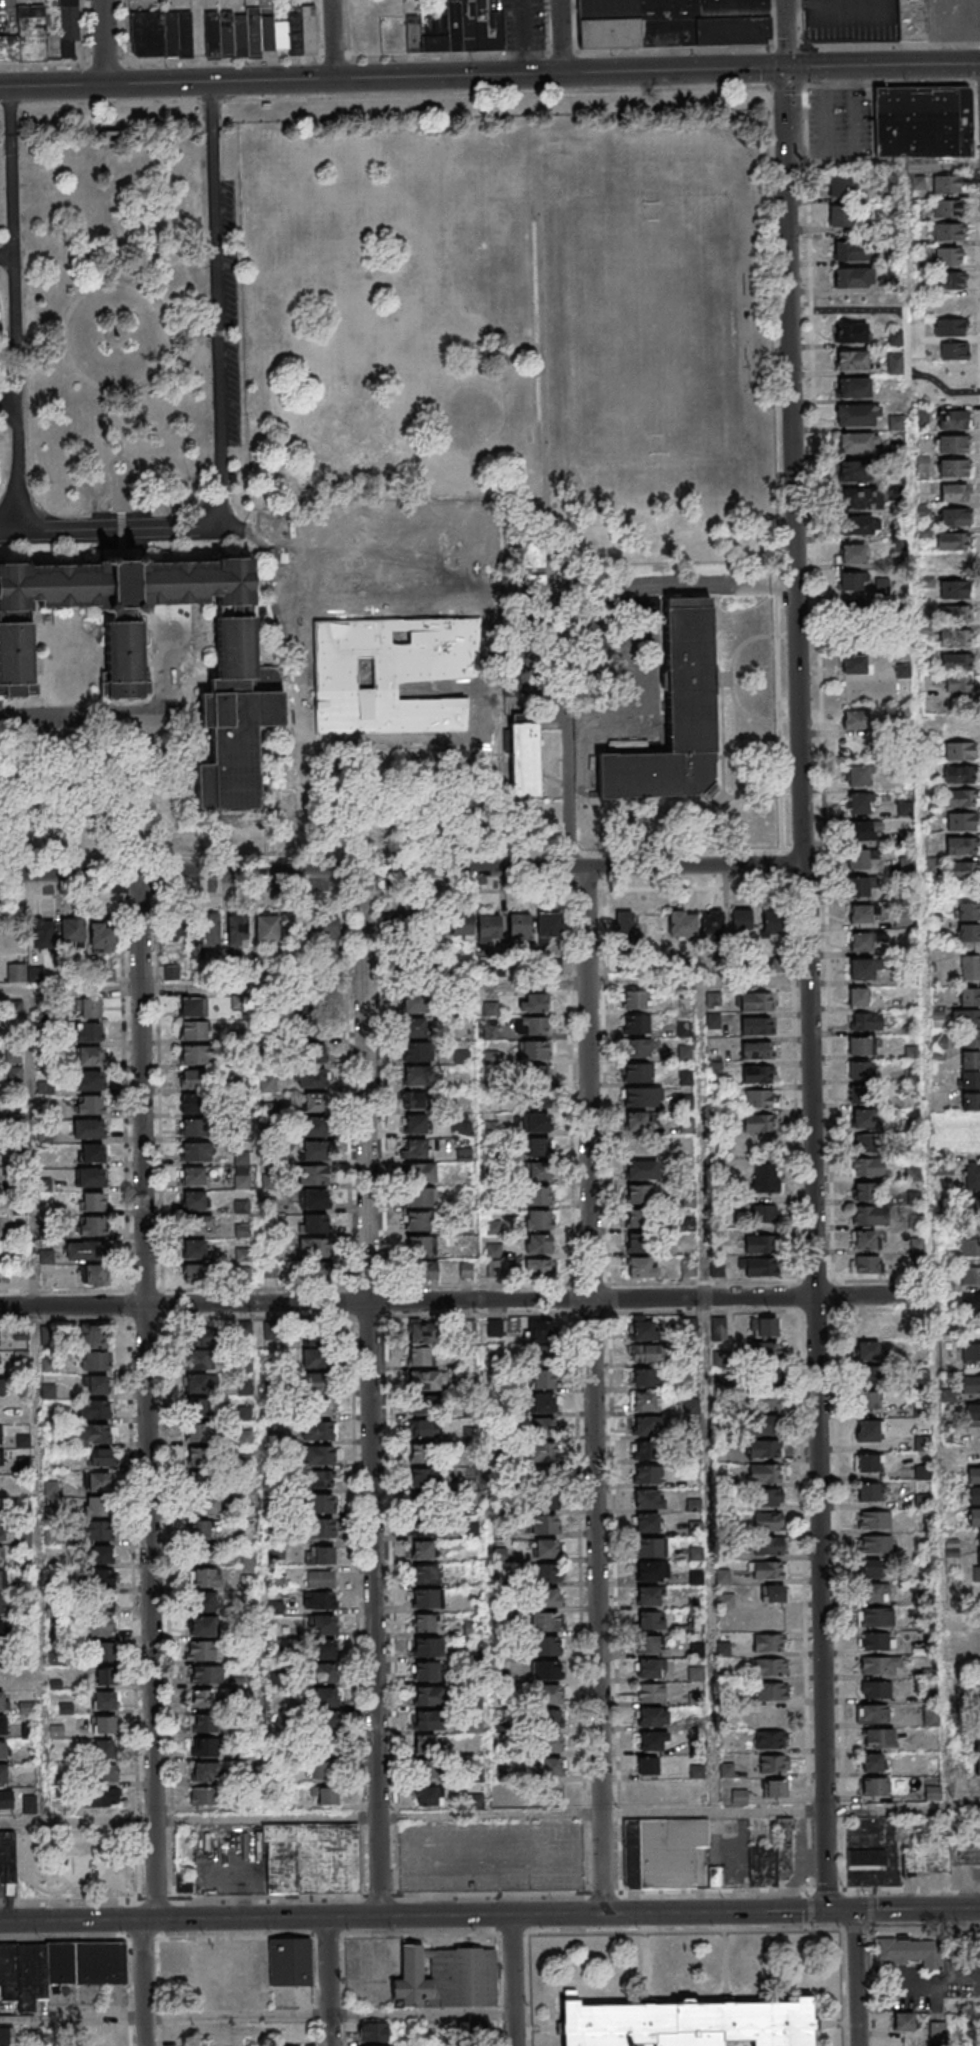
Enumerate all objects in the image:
parking lot: (955, 19)
parking lot: (853, 20)
building: (916, 20)
building: (675, 22)
parking lot: (527, 25)
building: (456, 28)
building: (308, 29)
building: (292, 33)
building: (162, 34)
building: (244, 34)
building: (42, 35)
road: (560, 36)
road: (332, 39)
road: (103, 42)
road: (490, 53)
traffic signals: (790, 68)
road: (489, 74)
road: (979, 84)
road: (894, 85)
road: (791, 86)
road: (385, 97)
building: (925, 121)
parking lot: (843, 123)
road: (884, 167)
building: (946, 184)
building: (839, 185)
road: (117, 193)
building: (946, 208)
building: (840, 216)
building: (947, 231)
building: (850, 250)
building: (950, 256)
road: (8, 257)
building: (853, 277)
building: (952, 280)
road: (102, 284)
road: (18, 309)
parking lot: (227, 313)
building: (951, 327)
road: (220, 328)
park: (658, 331)
building: (850, 332)
road: (197, 334)
road: (42, 337)
building: (954, 352)
building: (853, 360)
building: (853, 388)
building: (952, 397)
road: (10, 398)
road: (10, 410)
building: (857, 416)
building: (952, 421)
road: (122, 424)
building: (857, 444)
building: (953, 445)
building: (953, 468)
building: (855, 472)
road: (123, 476)
building: (954, 492)
building: (862, 500)
road: (124, 502)
building: (954, 516)
building: (862, 525)
road: (117, 529)
road: (399, 535)
building: (953, 540)
building: (852, 555)
building: (537, 564)
road: (380, 574)
building: (850, 581)
road: (756, 585)
building: (882, 587)
road: (572, 589)
building: (955, 590)
road: (283, 598)
parking lot: (383, 610)
road: (478, 612)
road: (381, 613)
building: (954, 614)
building: (956, 638)
road: (392, 652)
building: (956, 661)
building: (856, 664)
road: (642, 679)
building: (247, 682)
building: (958, 682)
road: (394, 691)
road: (124, 710)
building: (674, 715)
parking lot: (37, 718)
building: (957, 727)
building: (857, 730)
road: (571, 741)
building: (959, 750)
building: (528, 760)
building: (402, 766)
building: (960, 774)
building: (859, 776)
road: (308, 783)
building: (961, 797)
building: (858, 804)
building: (905, 809)
building: (55, 810)
building: (962, 821)
building: (860, 831)
building: (962, 845)
building: (859, 859)
road: (404, 869)
building: (963, 870)
building: (858, 887)
road: (811, 905)
building: (967, 911)
building: (861, 914)
building: (741, 919)
building: (903, 920)
building: (773, 921)
building: (712, 923)
building: (685, 925)
building: (549, 926)
building: (630, 926)
building: (391, 927)
building: (461, 927)
building: (268, 928)
building: (488, 928)
building: (519, 928)
building: (72, 929)
building: (326, 929)
building: (237, 930)
building: (175, 931)
building: (204, 931)
building: (43, 933)
building: (968, 933)
building: (102, 936)
building: (866, 940)
building: (862, 968)
building: (970, 968)
building: (23, 972)
road: (405, 982)
road: (927, 990)
building: (858, 996)
building: (969, 997)
building: (634, 999)
building: (755, 1001)
building: (414, 1002)
building: (536, 1002)
building: (91, 1007)
building: (192, 1007)
building: (966, 1018)
building: (865, 1021)
building: (315, 1022)
building: (714, 1022)
building: (637, 1023)
building: (757, 1025)
building: (532, 1027)
building: (414, 1029)
building: (194, 1030)
building: (89, 1031)
building: (970, 1039)
building: (859, 1045)
building: (638, 1047)
building: (757, 1049)
building: (534, 1050)
building: (415, 1051)
building: (911, 1053)
building: (193, 1055)
building: (89, 1056)
building: (488, 1057)
building: (970, 1060)
building: (860, 1071)
road: (257, 1072)
building: (636, 1072)
building: (539, 1074)
building: (759, 1074)
building: (416, 1076)
building: (311, 1078)
building: (193, 1079)
building: (88, 1080)
building: (969, 1080)
road: (592, 1083)
building: (858, 1095)
building: (642, 1096)
building: (415, 1099)
building: (759, 1099)
building: (315, 1102)
building: (970, 1102)
building: (89, 1104)
building: (190, 1106)
building: (863, 1119)
building: (536, 1121)
building: (638, 1121)
building: (415, 1123)
building: (758, 1123)
building: (314, 1126)
building: (191, 1127)
building: (88, 1128)
building: (973, 1134)
building: (865, 1143)
building: (539, 1146)
building: (415, 1147)
building: (313, 1150)
building: (90, 1152)
building: (194, 1152)
building: (868, 1168)
building: (1, 1169)
building: (538, 1170)
building: (641, 1170)
building: (421, 1173)
building: (313, 1174)
building: (193, 1176)
building: (972, 1176)
building: (90, 1177)
building: (765, 1178)
building: (864, 1191)
building: (538, 1195)
building: (420, 1197)
building: (312, 1199)
building: (192, 1200)
building: (93, 1202)
building: (638, 1207)
building: (763, 1213)
building: (869, 1214)
building: (539, 1219)
building: (314, 1223)
building: (197, 1224)
building: (91, 1226)
building: (242, 1229)
building: (419, 1234)
building: (864, 1239)
building: (760, 1243)
building: (635, 1244)
building: (916, 1244)
building: (541, 1245)
building: (969, 1247)
building: (317, 1248)
building: (194, 1249)
building: (84, 1251)
building: (241, 1254)
building: (45, 1257)
building: (866, 1263)
building: (758, 1266)
building: (538, 1268)
building: (642, 1268)
building: (270, 1271)
building: (423, 1271)
building: (197, 1274)
building: (94, 1275)
building: (970, 1275)
building: (317, 1276)
road: (467, 1301)
building: (970, 1303)
building: (493, 1325)
building: (764, 1326)
building: (718, 1328)
road: (263, 1329)
building: (644, 1329)
building: (541, 1331)
building: (423, 1332)
building: (93, 1336)
building: (320, 1336)
building: (766, 1351)
building: (868, 1351)
building: (971, 1351)
building: (645, 1353)
building: (419, 1355)
building: (198, 1357)
building: (318, 1358)
building: (93, 1361)
building: (644, 1378)
building: (544, 1379)
building: (425, 1380)
building: (316, 1381)
building: (970, 1384)
building: (96, 1385)
building: (197, 1385)
building: (1, 1386)
road: (372, 1393)
road: (710, 1396)
building: (869, 1399)
building: (644, 1402)
building: (766, 1402)
building: (545, 1403)
road: (37, 1405)
building: (318, 1405)
building: (424, 1405)
building: (200, 1407)
building: (691, 1407)
building: (93, 1409)
building: (972, 1411)
building: (764, 1425)
building: (647, 1427)
building: (424, 1429)
building: (318, 1430)
building: (869, 1430)
building: (95, 1433)
building: (200, 1434)
building: (766, 1450)
building: (542, 1451)
building: (644, 1451)
building: (973, 1453)
building: (320, 1454)
building: (423, 1454)
building: (0, 1459)
building: (204, 1459)
road: (152, 1460)
building: (868, 1463)
building: (98, 1470)
building: (766, 1474)
building: (647, 1475)
building: (973, 1475)
building: (425, 1477)
building: (319, 1478)
building: (1, 1483)
building: (205, 1488)
building: (869, 1492)
building: (542, 1495)
building: (974, 1495)
building: (768, 1498)
building: (649, 1500)
building: (320, 1503)
building: (98, 1506)
building: (1, 1507)
building: (425, 1514)
building: (974, 1517)
building: (875, 1521)
building: (768, 1522)
building: (649, 1523)
building: (544, 1524)
building: (320, 1527)
building: (2, 1531)
building: (98, 1531)
building: (978, 1537)
building: (201, 1540)
building: (876, 1545)
building: (769, 1546)
building: (651, 1548)
building: (545, 1549)
building: (422, 1550)
building: (100, 1554)
building: (319, 1554)
building: (1, 1555)
building: (248, 1557)
building: (976, 1565)
building: (871, 1568)
building: (769, 1570)
building: (652, 1571)
building: (425, 1574)
building: (546, 1574)
building: (320, 1578)
building: (0, 1580)
building: (206, 1586)
building: (873, 1593)
building: (775, 1594)
building: (648, 1596)
building: (427, 1598)
building: (547, 1598)
building: (319, 1600)
building: (0, 1604)
building: (99, 1605)
road: (598, 1606)
building: (772, 1618)
building: (875, 1618)
building: (651, 1620)
building: (546, 1621)
building: (424, 1622)
building: (978, 1622)
building: (321, 1624)
building: (203, 1626)
building: (4, 1631)
building: (877, 1642)
building: (650, 1643)
building: (769, 1643)
building: (547, 1645)
building: (426, 1646)
building: (323, 1649)
building: (202, 1651)
building: (880, 1666)
building: (770, 1667)
road: (492, 1668)
building: (650, 1668)
building: (547, 1669)
building: (425, 1671)
building: (101, 1673)
building: (325, 1673)
building: (1, 1676)
building: (207, 1677)
building: (976, 1682)
building: (876, 1690)
building: (651, 1692)
building: (770, 1692)
building: (547, 1694)
building: (429, 1695)
building: (326, 1699)
building: (1, 1700)
building: (102, 1701)
building: (977, 1704)
building: (873, 1714)
building: (653, 1716)
building: (768, 1716)
building: (931, 1716)
building: (547, 1718)
building: (428, 1720)
building: (204, 1722)
building: (2, 1725)
building: (103, 1726)
building: (326, 1730)
building: (879, 1739)
building: (653, 1740)
building: (770, 1741)
building: (548, 1743)
building: (427, 1745)
building: (976, 1746)
building: (200, 1748)
building: (3, 1749)
building: (103, 1750)
building: (872, 1763)
building: (648, 1765)
building: (773, 1765)
building: (976, 1766)
building: (552, 1767)
building: (727, 1770)
building: (324, 1771)
building: (205, 1772)
building: (5, 1773)
building: (104, 1774)
building: (875, 1787)
building: (775, 1789)
building: (932, 1794)
building: (429, 1795)
building: (325, 1796)
building: (100, 1797)
building: (203, 1797)
building: (739, 1797)
building: (6, 1799)
building: (29, 1804)
road: (476, 1817)
building: (938, 1853)
building: (667, 1855)
building: (7, 1856)
building: (772, 1857)
building: (311, 1858)
building: (866, 1858)
road: (824, 1861)
park: (76, 1862)
building: (185, 1884)
road: (744, 1896)
road: (253, 1902)
road: (917, 1910)
traffic signals: (825, 1911)
road: (839, 1911)
traffic signals: (854, 1911)
road: (714, 1912)
road: (301, 1918)
building: (917, 1953)
building: (291, 1963)
building: (57, 1968)
road: (855, 1978)
building: (447, 1980)
road: (513, 1980)
road: (326, 1982)
road: (256, 2016)
building: (904, 2020)
building: (688, 2024)
road: (242, 2031)
building: (373, 2032)
building: (6, 2035)
building: (103, 2035)
building: (188, 2035)

